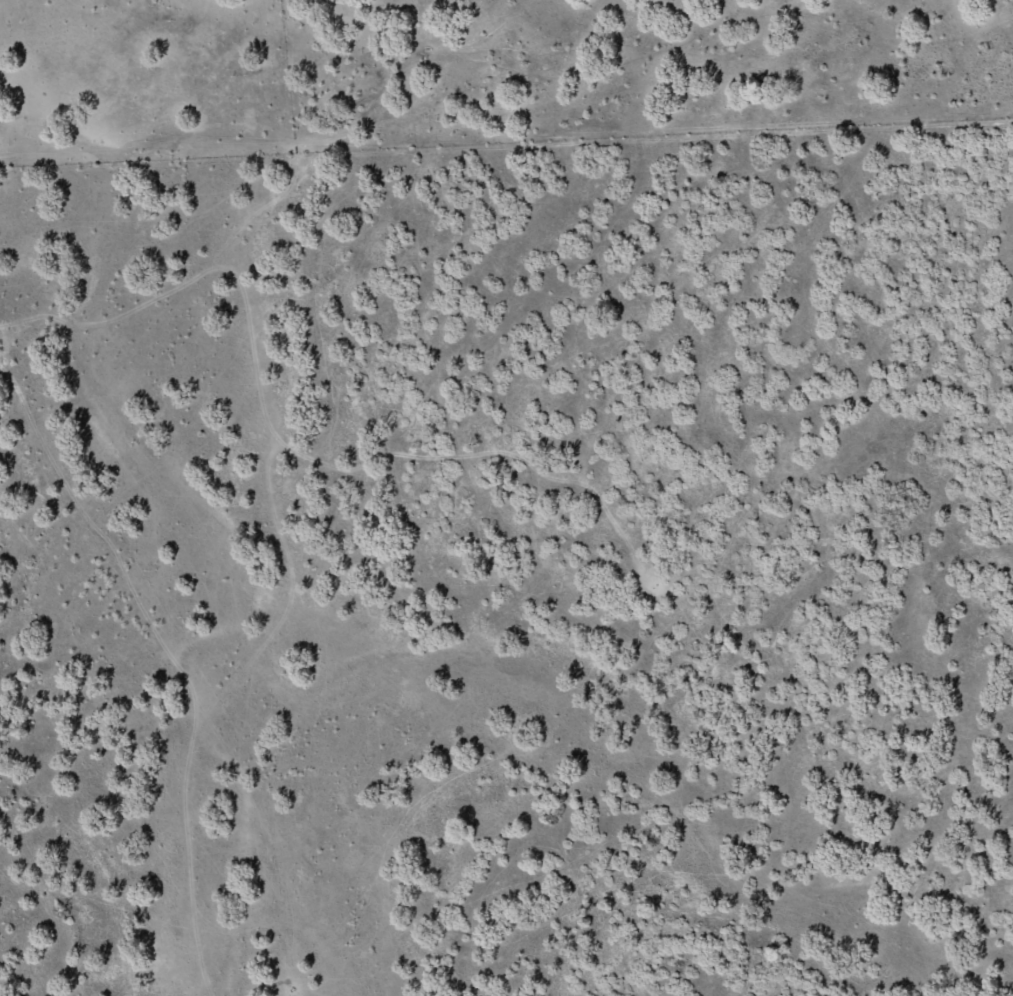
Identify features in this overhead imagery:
road: (202, 678)

